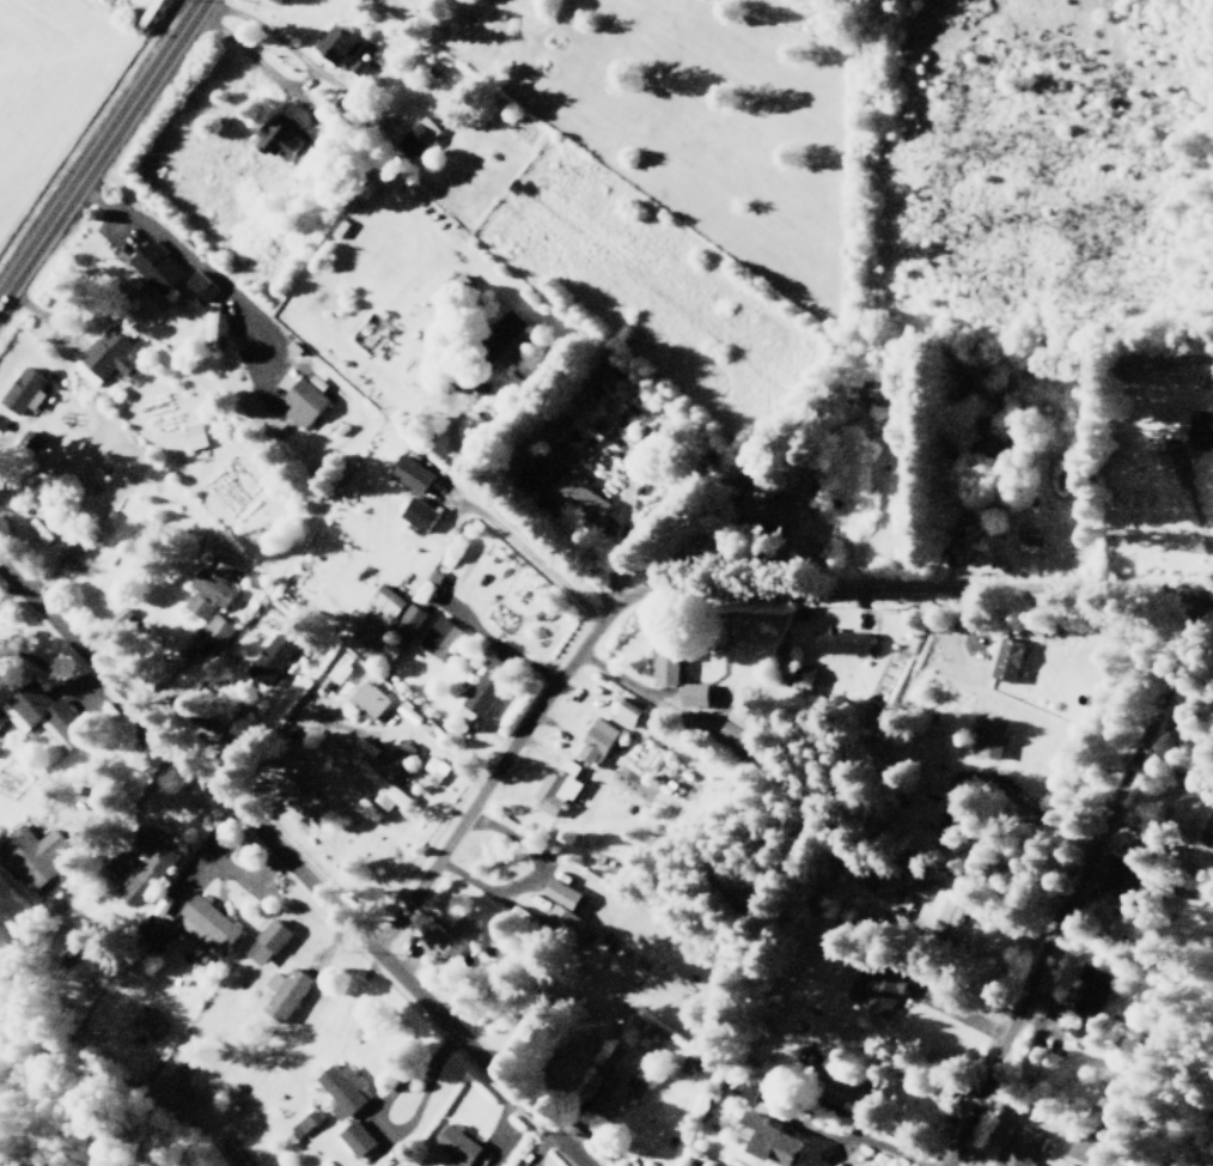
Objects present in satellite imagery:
building: (336, 43)
building: (359, 67)
road: (318, 97)
crop: (63, 99)
crop: (701, 128)
building: (419, 136)
building: (280, 139)
road: (98, 145)
building: (312, 165)
road: (182, 248)
building: (157, 267)
building: (201, 285)
building: (214, 316)
building: (507, 328)
building: (106, 354)
building: (422, 371)
building: (25, 389)
building: (304, 401)
building: (1177, 421)
building: (1201, 427)
building: (992, 432)
building: (195, 433)
building: (566, 451)
building: (414, 473)
building: (581, 493)
building: (772, 511)
building: (420, 512)
road: (606, 533)
building: (73, 540)
road: (536, 566)
building: (212, 587)
building: (386, 600)
building: (410, 620)
building: (219, 627)
building: (440, 636)
building: (842, 639)
building: (666, 654)
building: (273, 657)
building: (1008, 657)
building: (341, 666)
road: (1164, 675)
building: (803, 676)
building: (488, 685)
building: (694, 693)
building: (370, 699)
building: (624, 710)
building: (409, 712)
building: (44, 713)
building: (0, 722)
building: (744, 723)
building: (993, 736)
road: (512, 740)
building: (596, 741)
building: (434, 767)
building: (389, 773)
building: (557, 787)
building: (1211, 824)
building: (950, 825)
building: (1211, 846)
building: (28, 852)
building: (151, 867)
road: (291, 867)
building: (888, 877)
building: (1134, 886)
building: (563, 892)
building: (940, 911)
building: (565, 919)
building: (207, 921)
building: (274, 931)
building: (450, 937)
building: (879, 985)
building: (1092, 989)
building: (289, 992)
road: (352, 995)
building: (148, 1021)
building: (839, 1083)
building: (740, 1086)
building: (340, 1088)
building: (617, 1089)
building: (1109, 1109)
road: (496, 1118)
building: (306, 1122)
road: (860, 1132)
building: (354, 1137)
building: (773, 1138)
building: (1020, 1146)
building: (1091, 1148)
building: (457, 1150)

